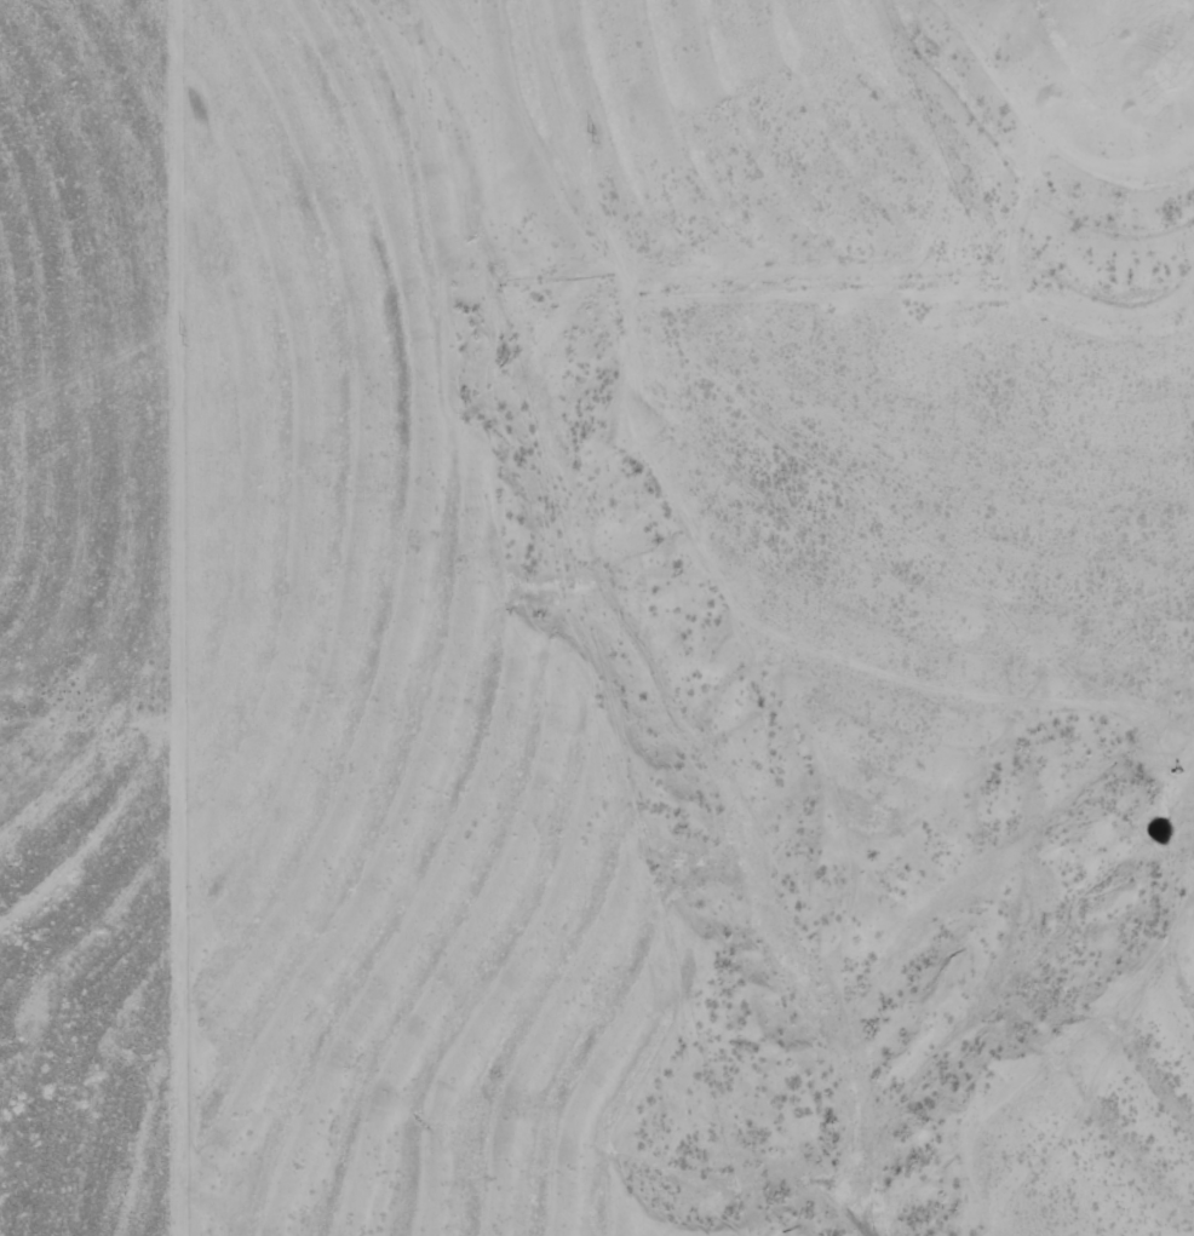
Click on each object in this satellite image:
power tower: (592, 134)
power tower: (183, 335)

